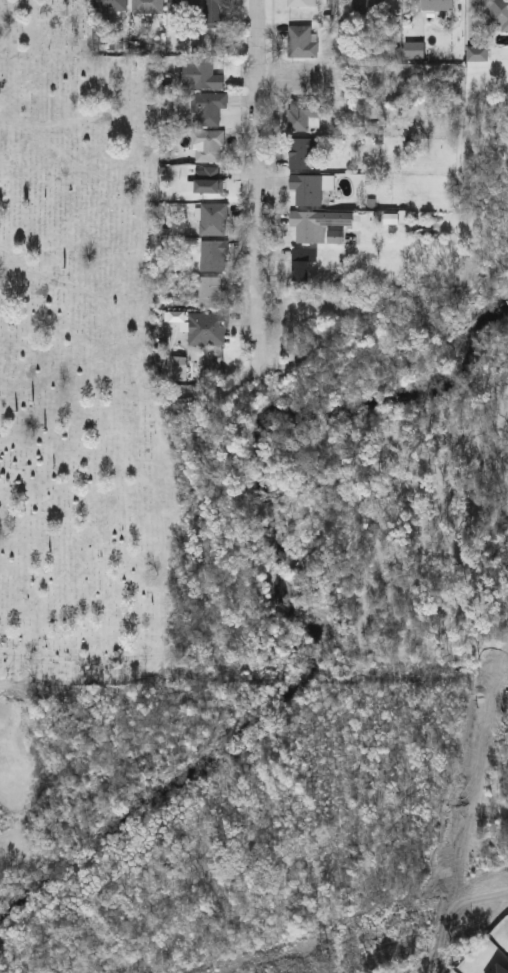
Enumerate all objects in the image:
building: (307, 2)
building: (110, 4)
building: (437, 4)
building: (147, 5)
building: (183, 6)
building: (371, 7)
building: (213, 11)
building: (496, 12)
building: (301, 39)
building: (201, 73)
building: (207, 106)
building: (306, 113)
building: (207, 143)
building: (301, 152)
building: (209, 179)
road: (261, 184)
building: (310, 187)
building: (213, 217)
building: (317, 222)
building: (213, 254)
building: (300, 263)
building: (211, 290)
building: (207, 326)
park: (88, 366)
road: (60, 639)
park: (17, 770)
power tower: (326, 962)
building: (498, 968)

